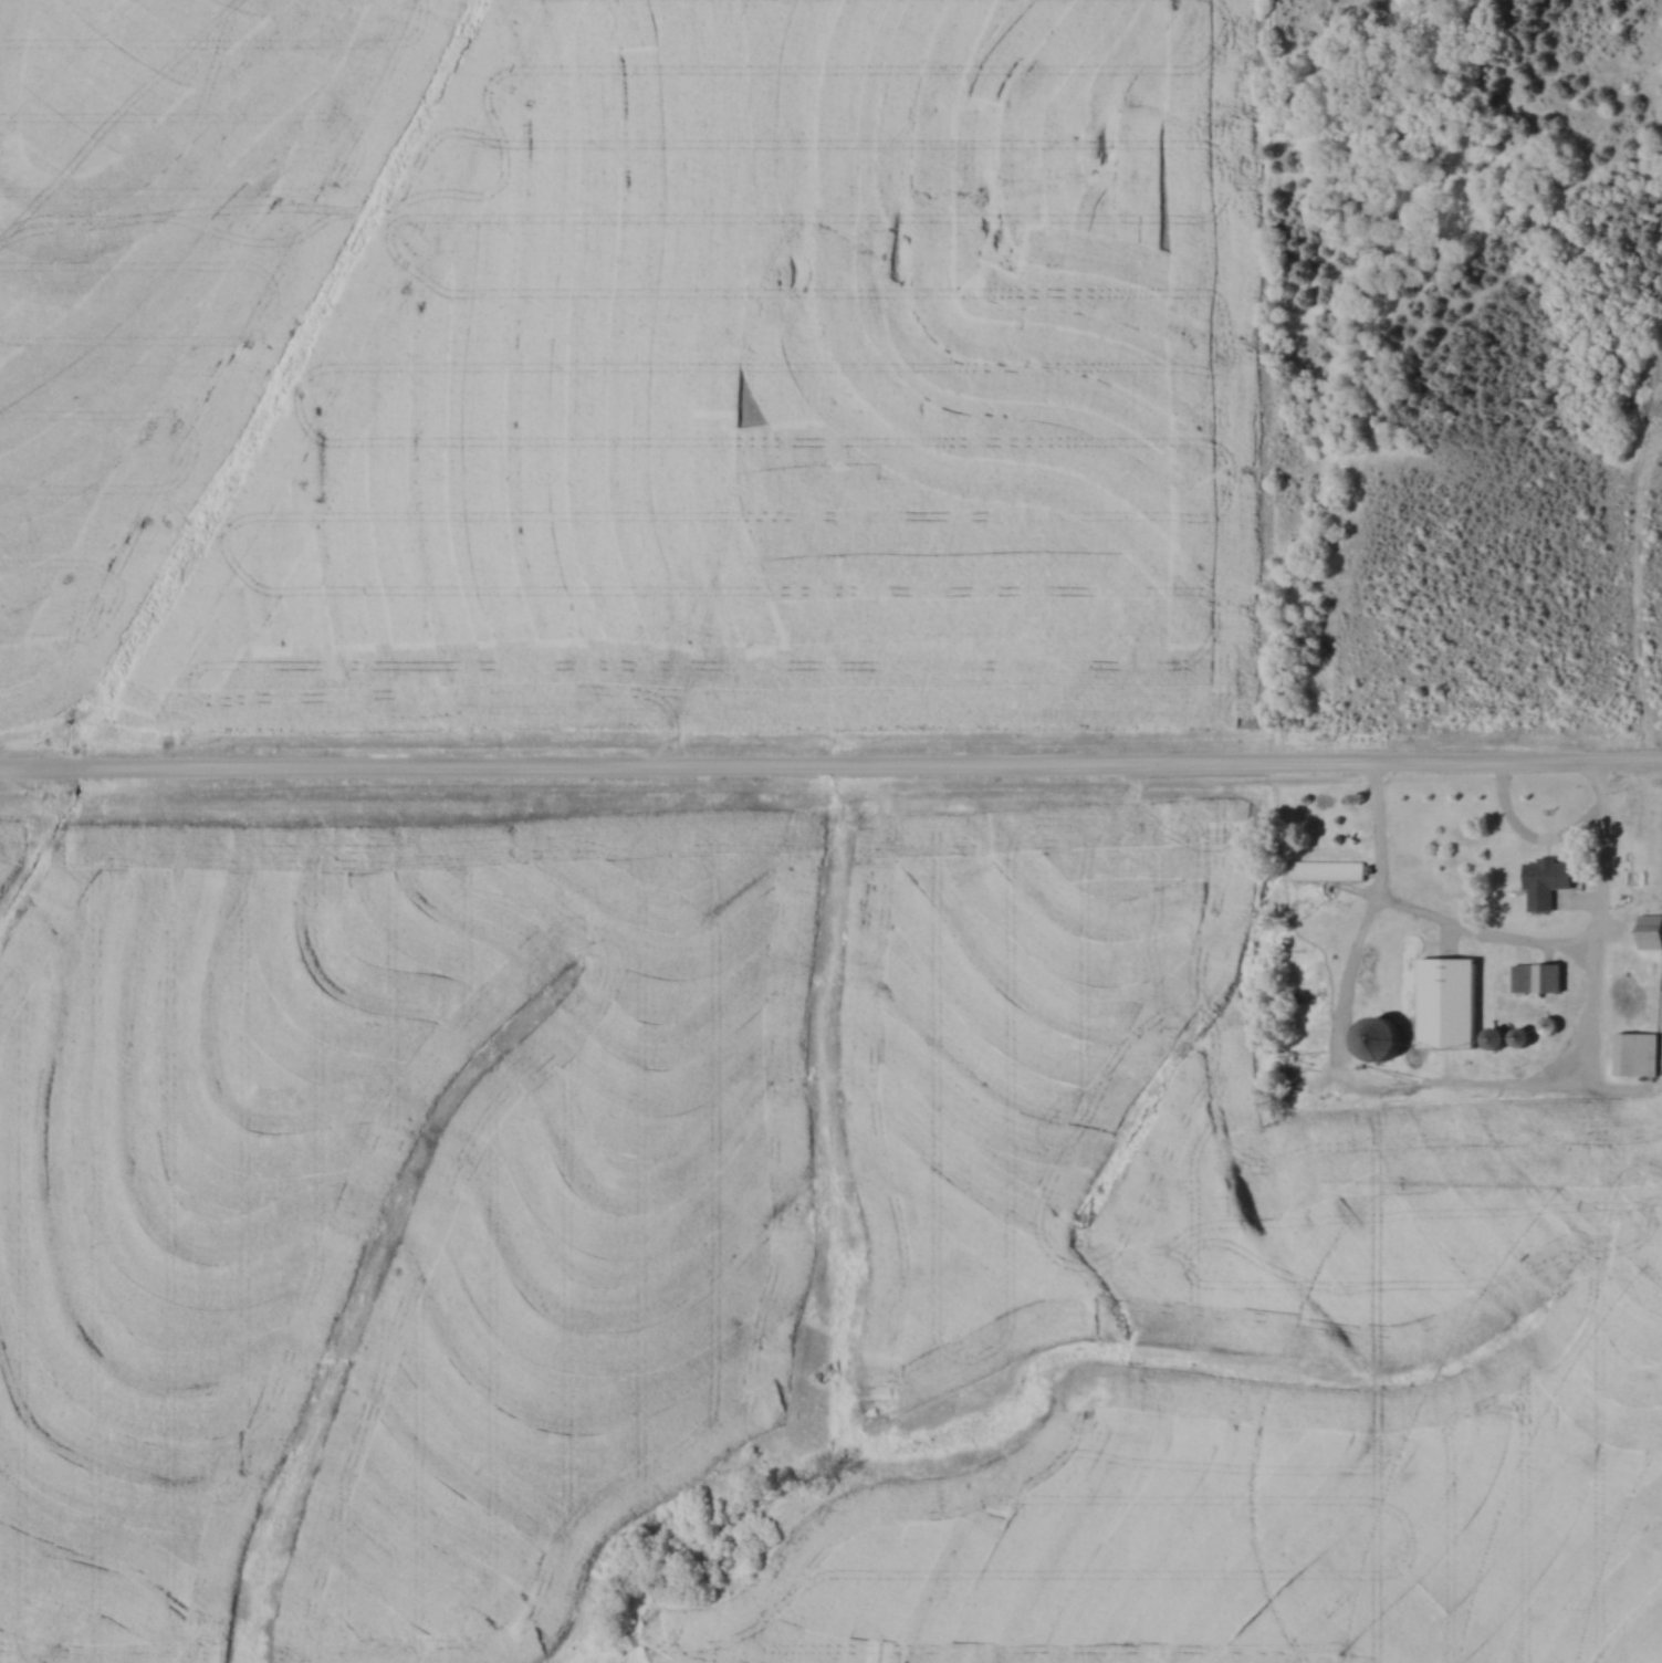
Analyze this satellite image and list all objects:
road: (830, 765)
road: (1532, 836)
building: (1326, 869)
building: (1545, 880)
road: (1430, 913)
road: (1604, 924)
building: (1649, 930)
building: (1536, 976)
building: (1459, 1005)
building: (1377, 1038)
building: (1637, 1053)
road: (1520, 1086)

